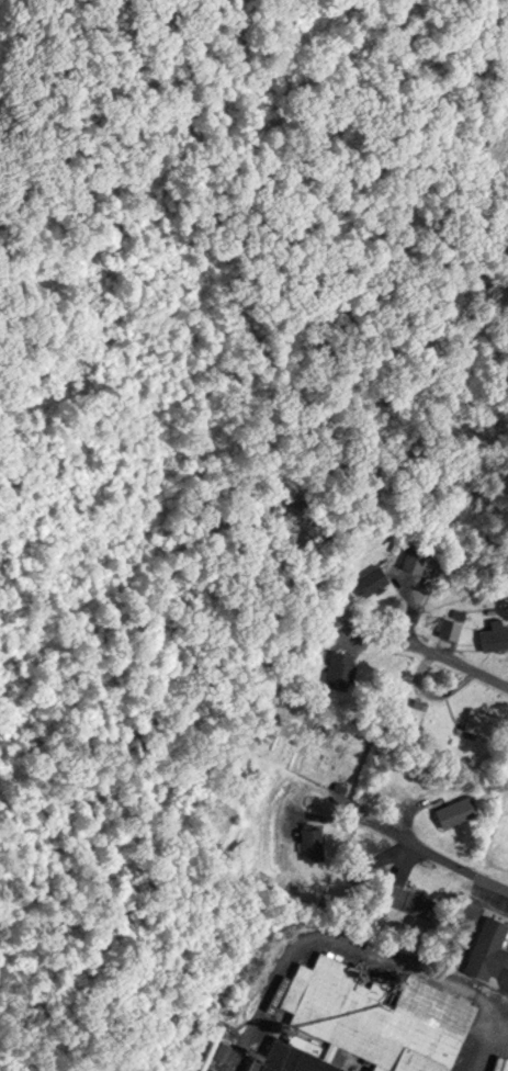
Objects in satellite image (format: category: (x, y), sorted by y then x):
building: (376, 576)
building: (444, 620)
building: (493, 632)
road: (432, 658)
building: (342, 667)
building: (484, 720)
building: (459, 808)
building: (315, 842)
road: (445, 856)
building: (414, 898)
parking lot: (490, 898)
building: (488, 946)
building: (374, 1015)
parking lot: (505, 1063)

